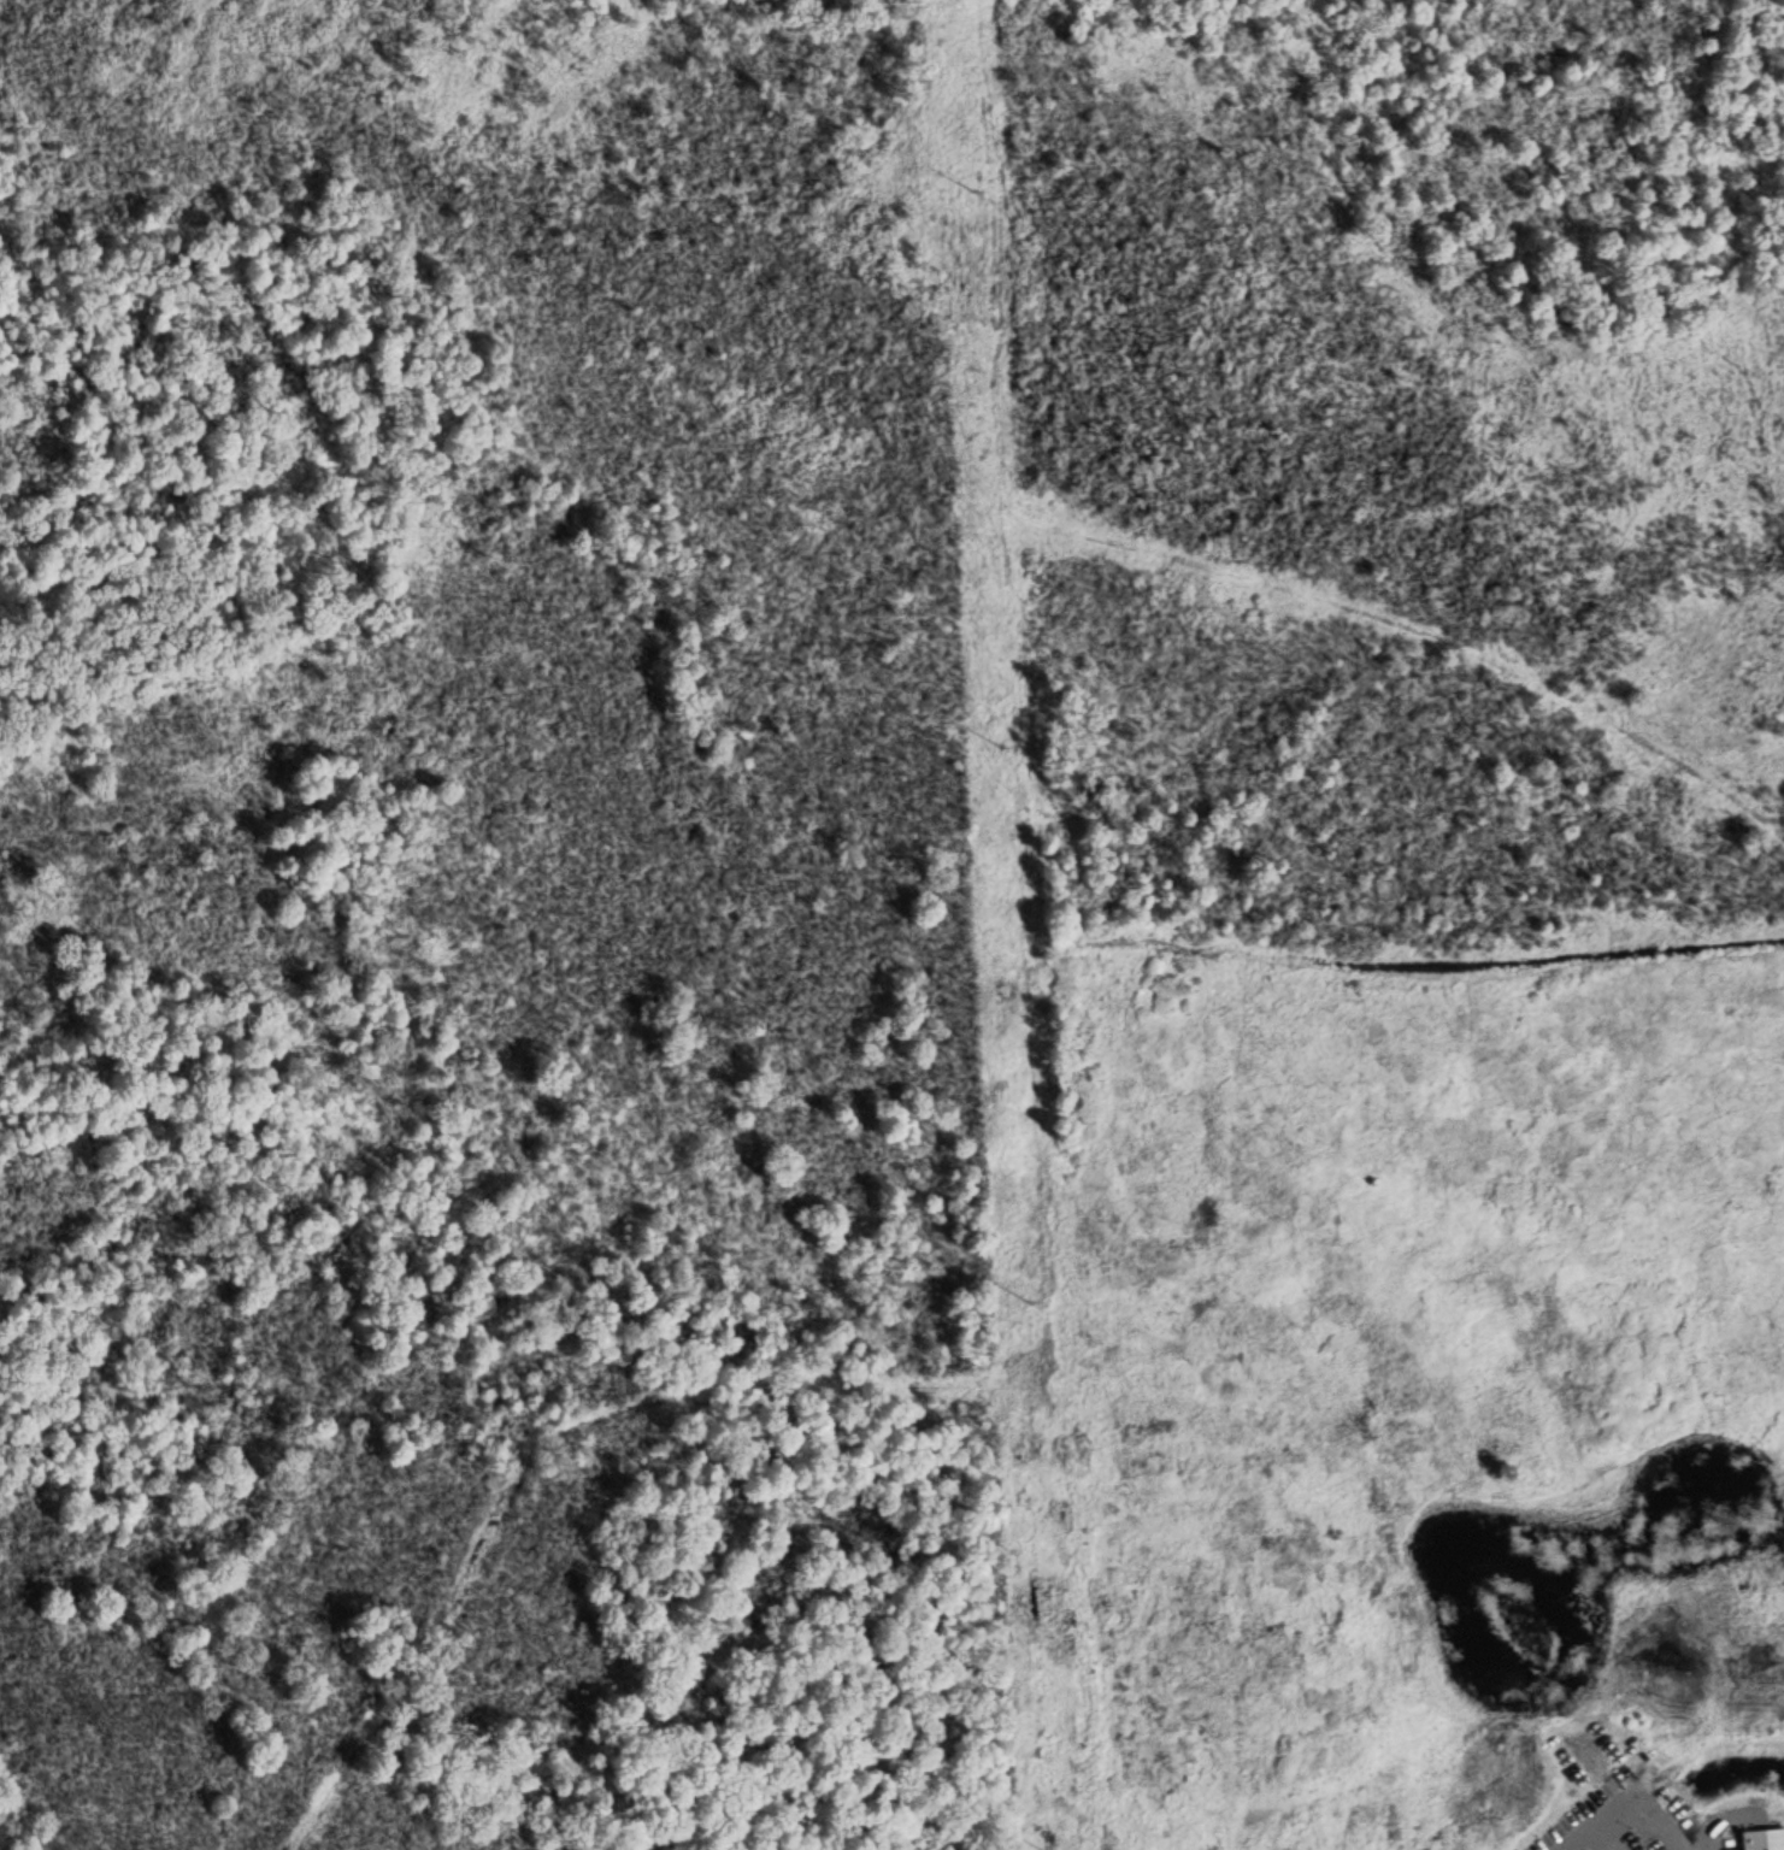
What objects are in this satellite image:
power tower: (972, 188)
power tower: (1003, 744)
power tower: (1029, 1302)
building: (1762, 1839)

